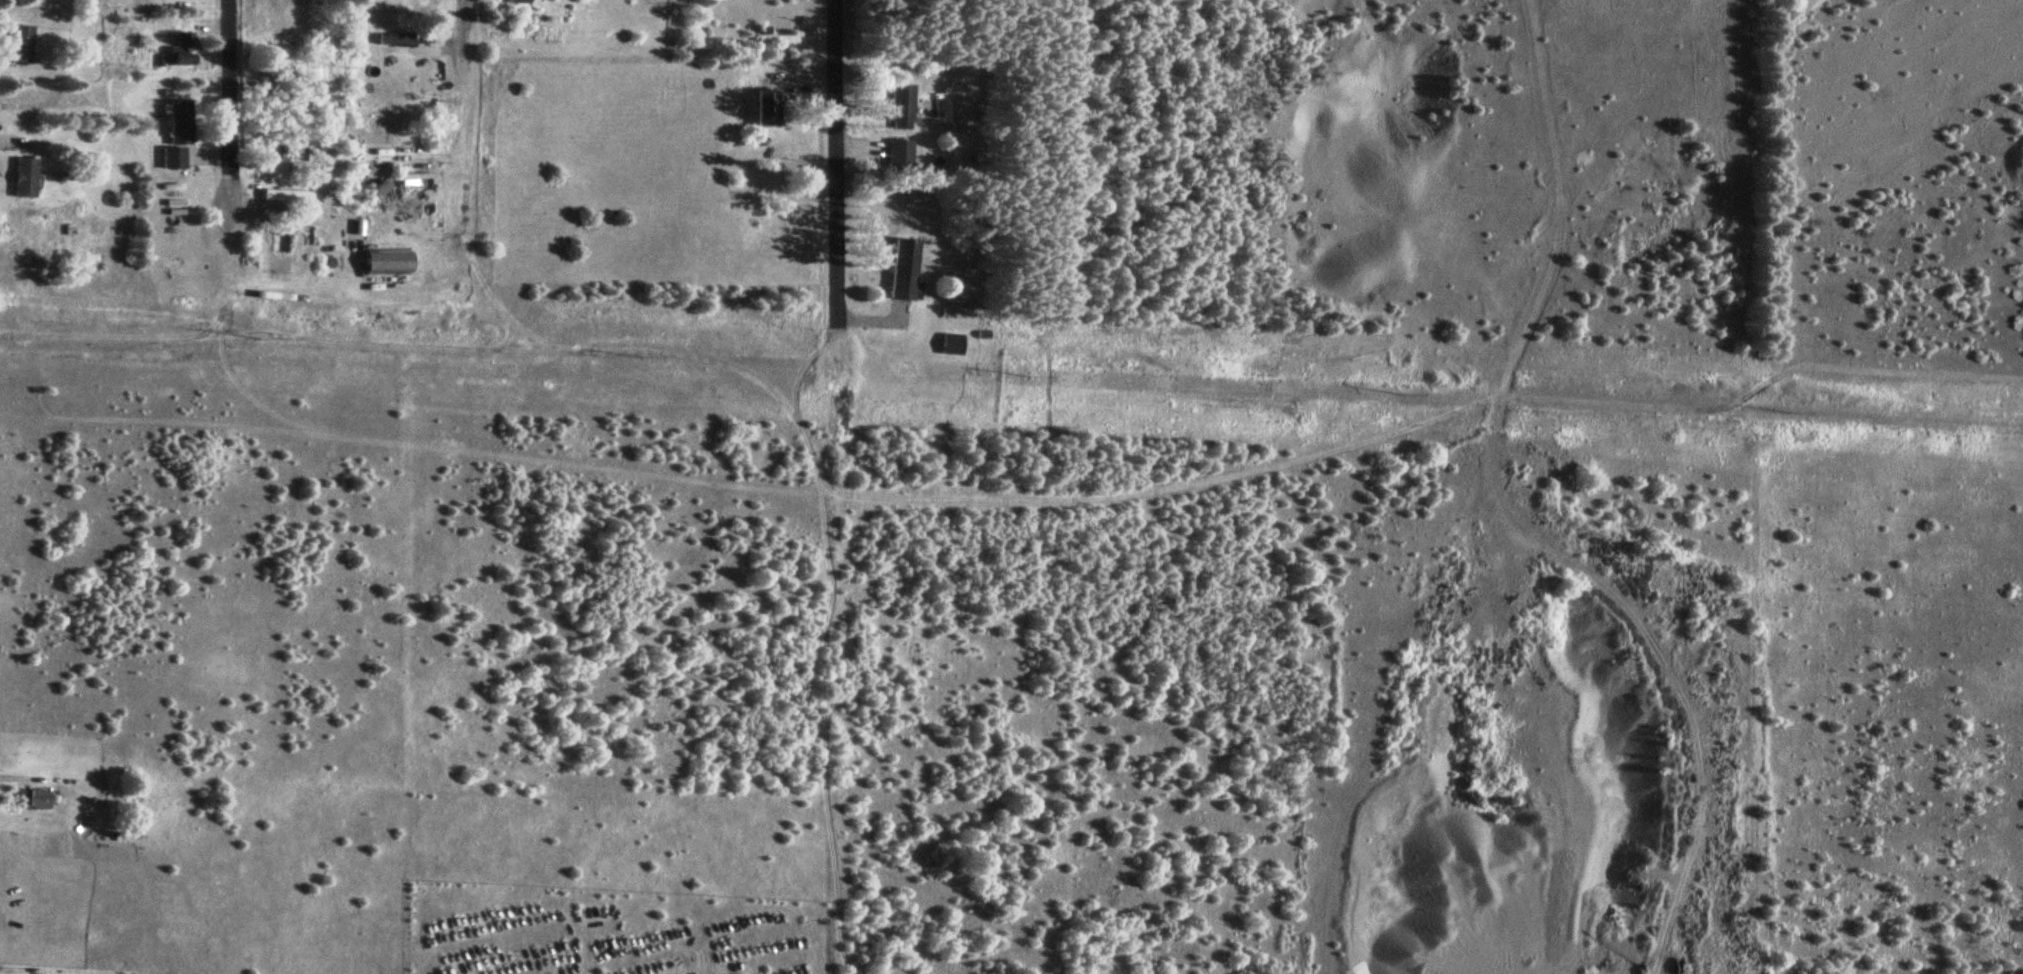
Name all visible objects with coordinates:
building: (515, 1)
building: (422, 4)
road: (458, 33)
building: (402, 38)
building: (775, 39)
building: (20, 44)
building: (180, 50)
road: (225, 83)
building: (762, 107)
building: (901, 107)
building: (179, 122)
building: (898, 154)
road: (830, 155)
building: (172, 158)
building: (24, 178)
road: (226, 187)
building: (286, 196)
building: (288, 230)
building: (904, 270)
building: (949, 345)
road: (1911, 369)
road: (1509, 522)
quarry: (1530, 732)
road: (15, 778)
building: (31, 800)
road: (10, 969)

